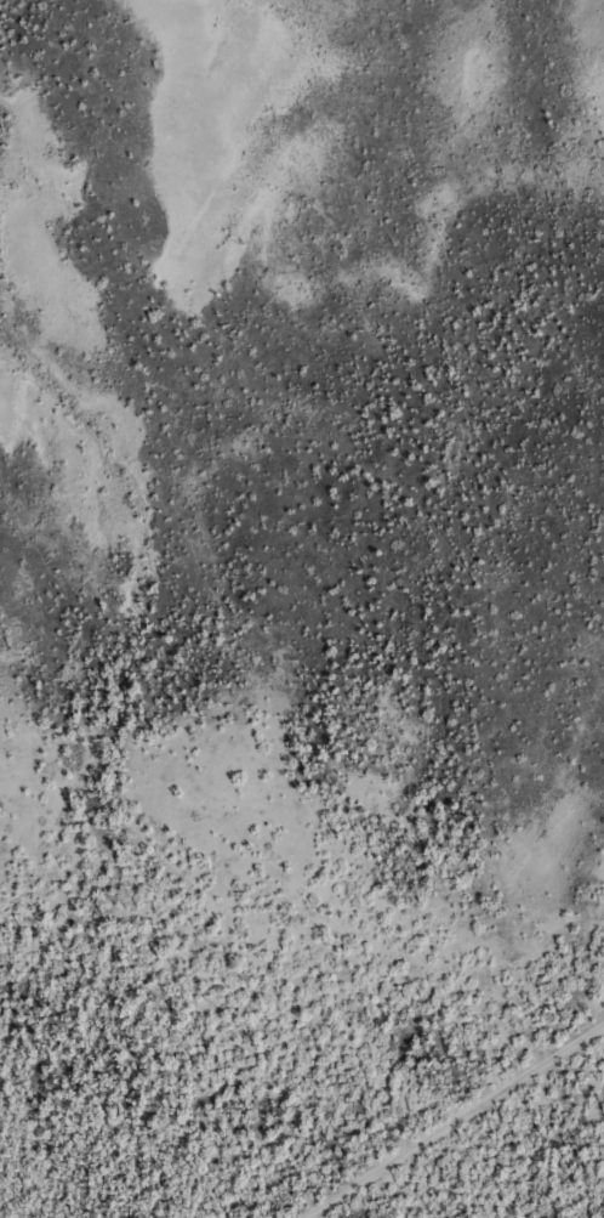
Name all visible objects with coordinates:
road: (445, 1116)

